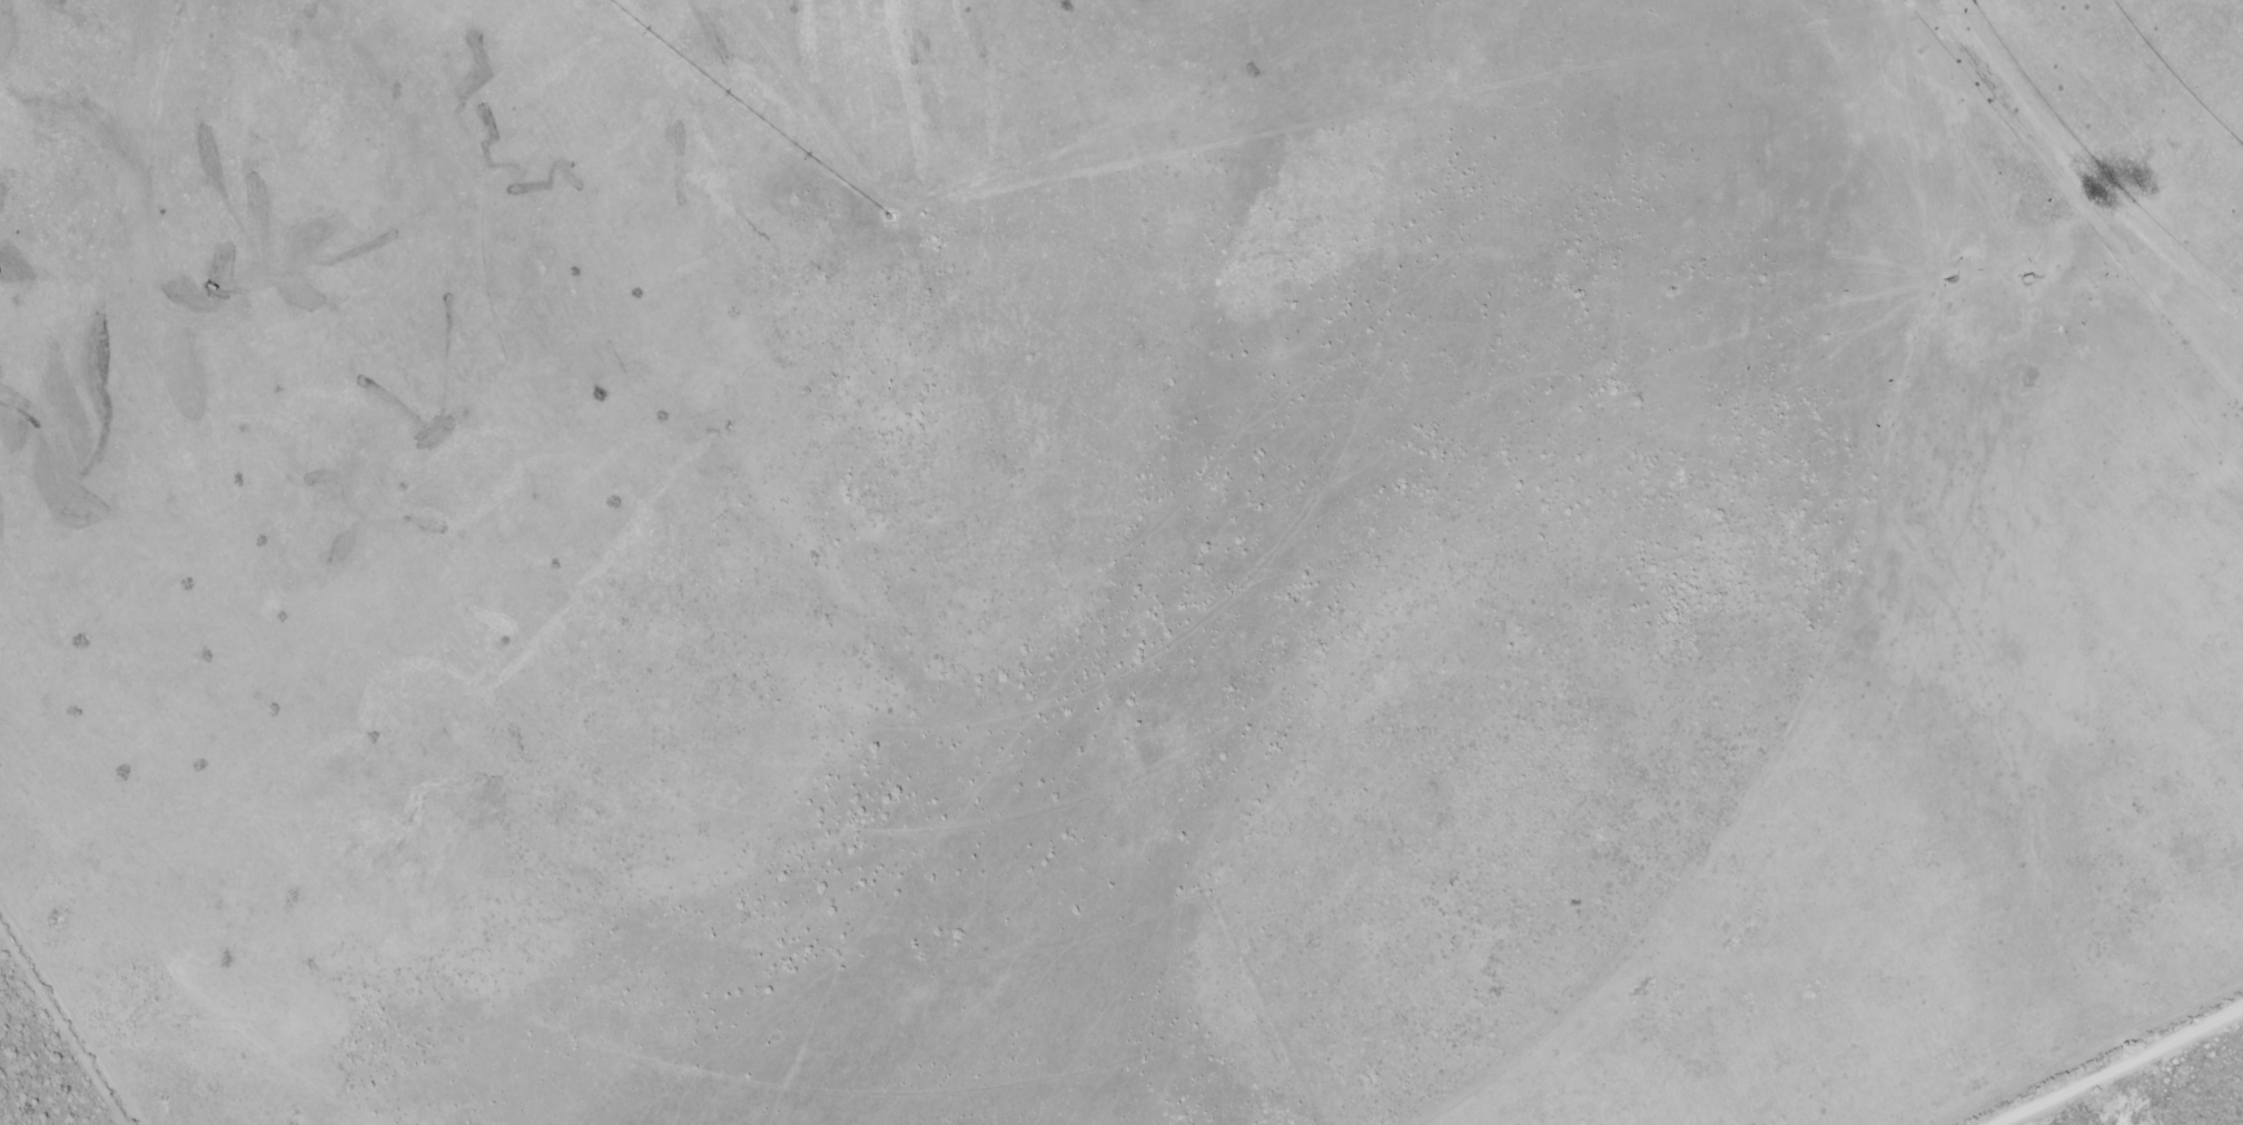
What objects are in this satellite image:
road: (2068, 111)
road: (2118, 1067)

